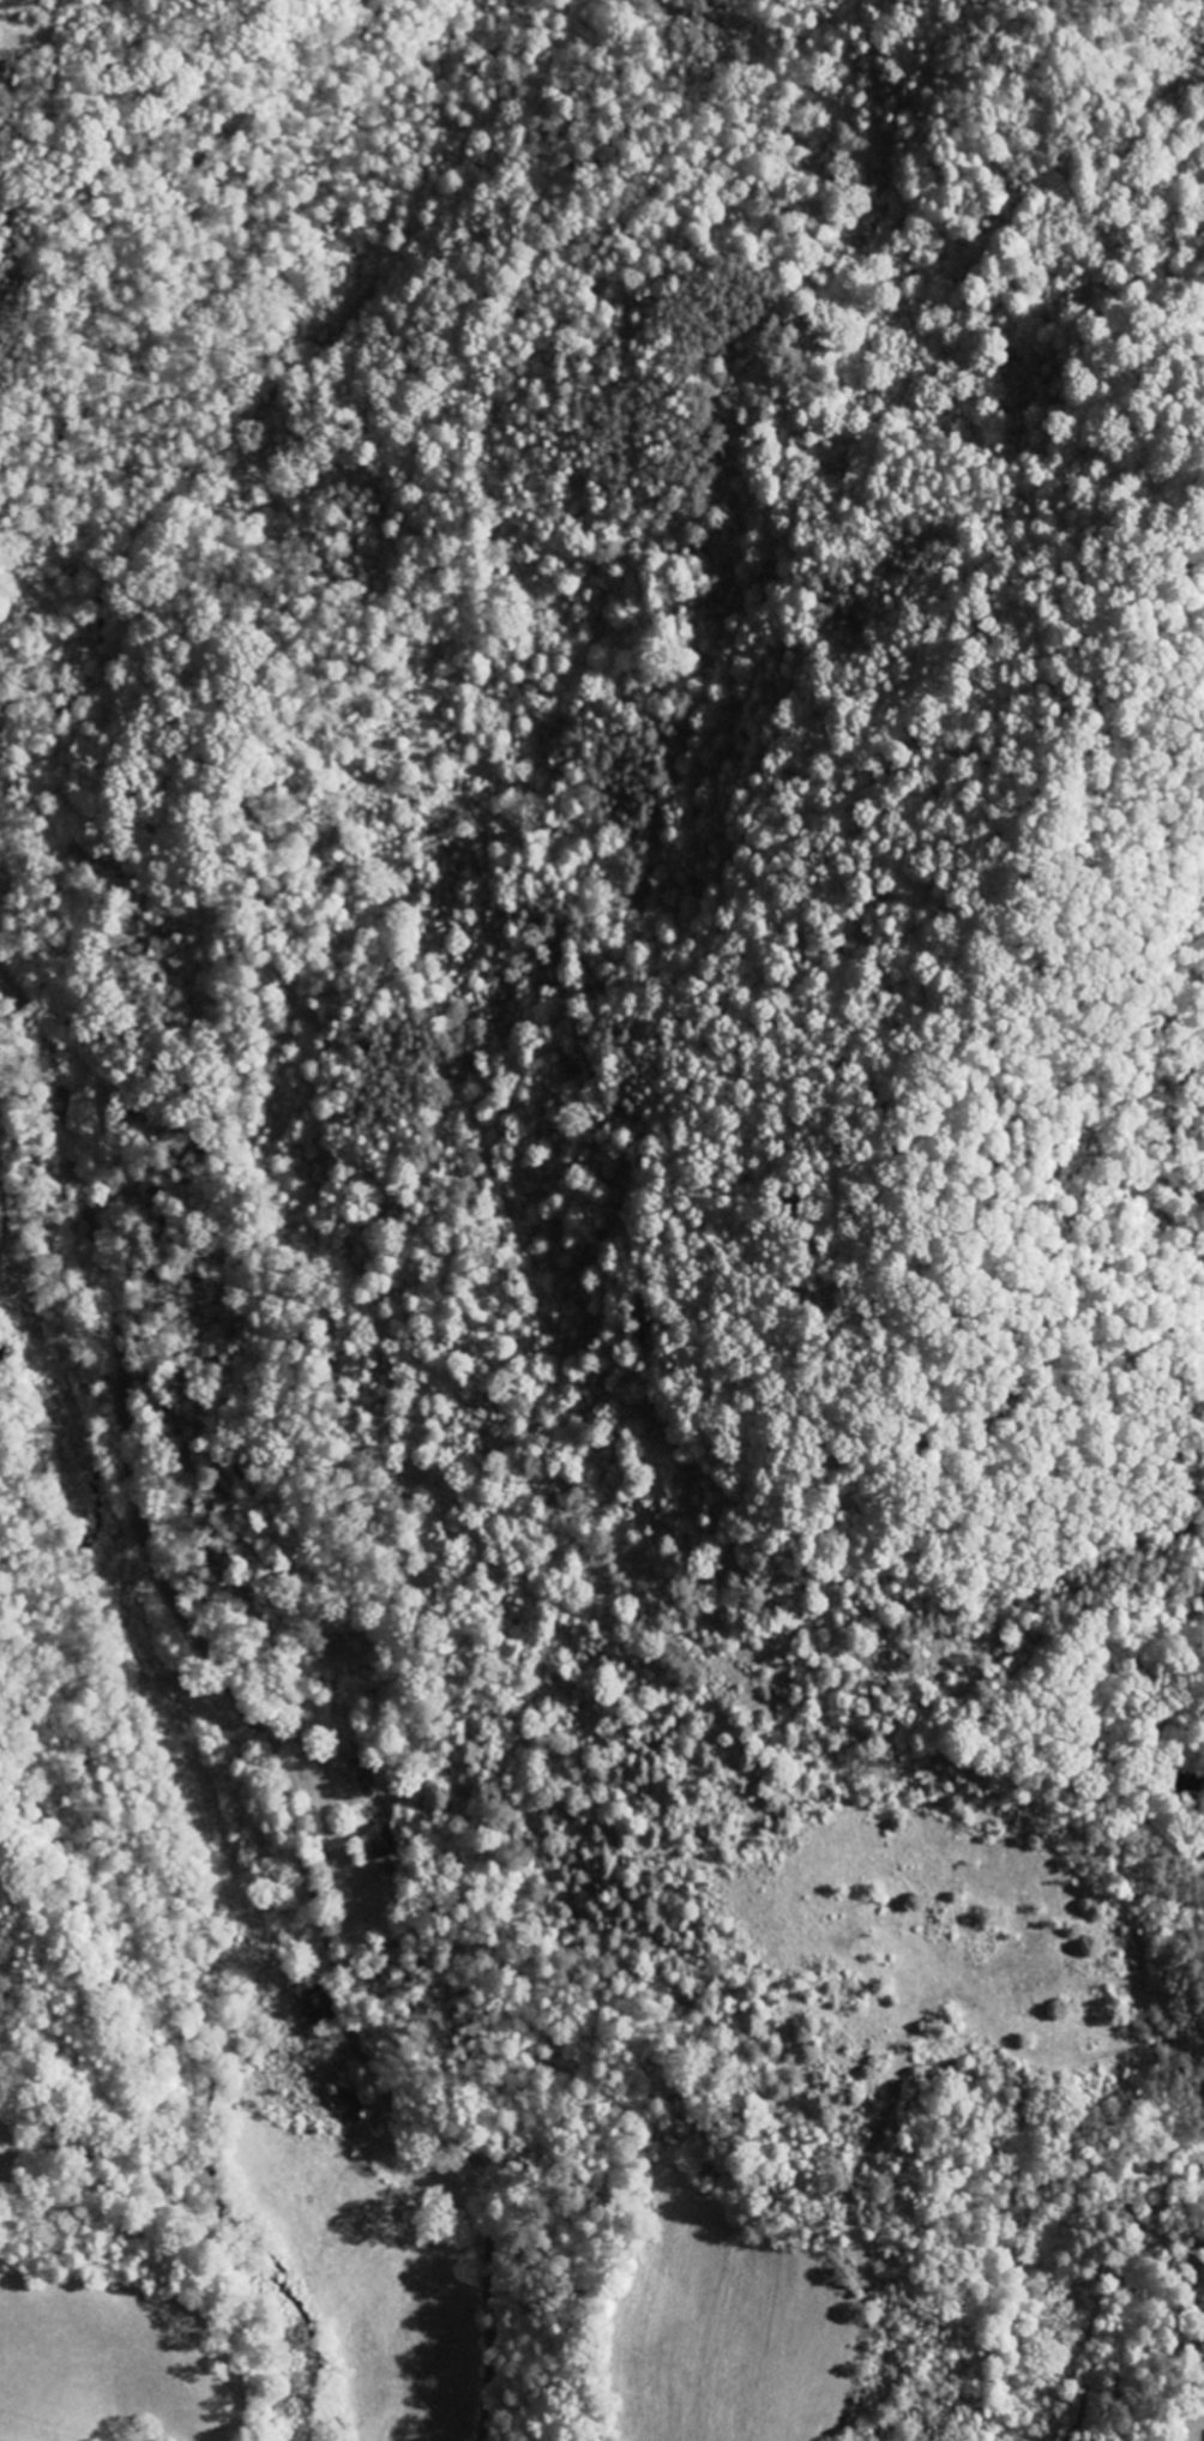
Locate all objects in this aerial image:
road: (247, 1715)
building: (349, 2109)

